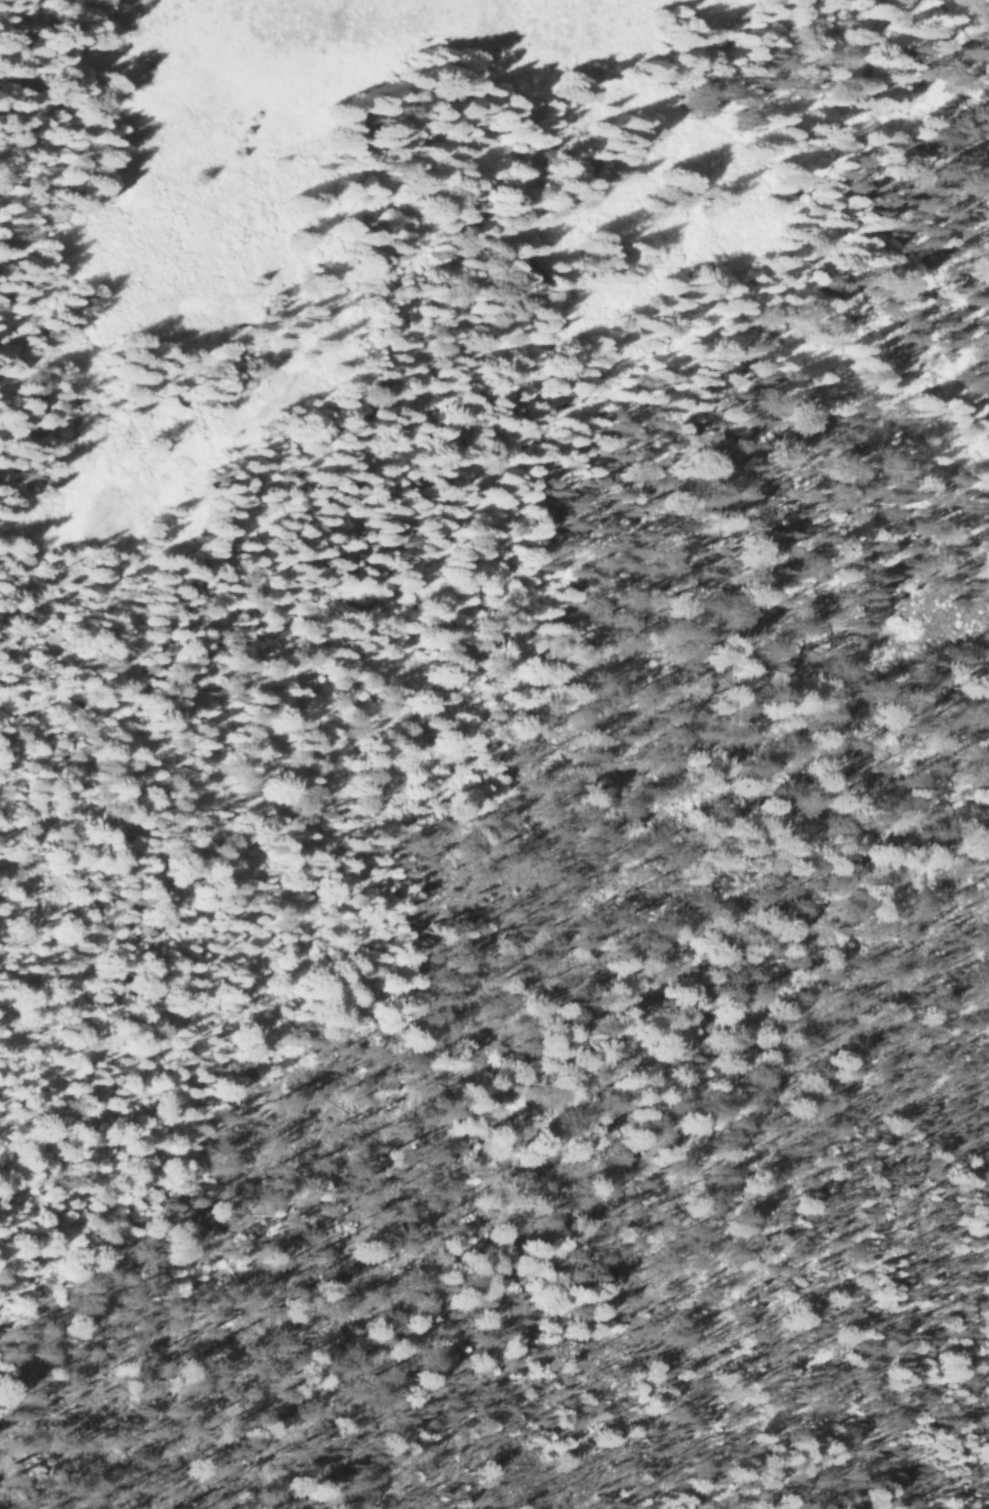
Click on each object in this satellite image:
road: (366, 45)

